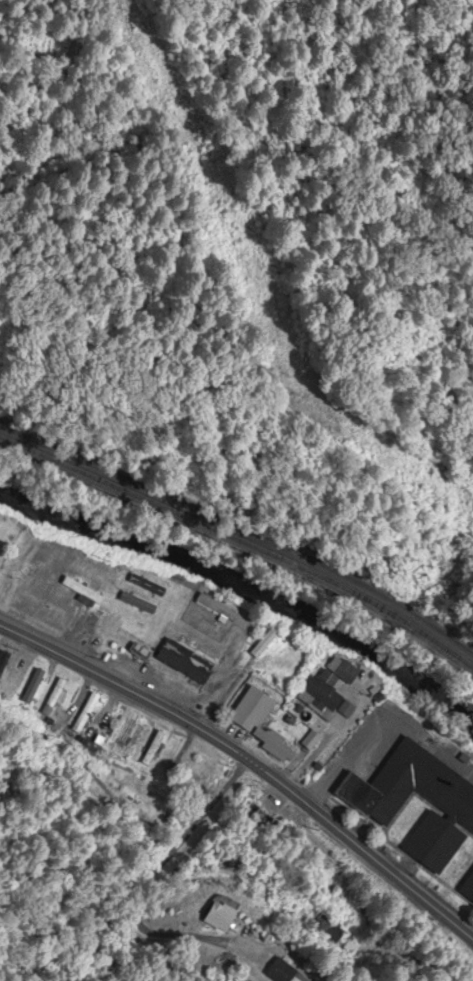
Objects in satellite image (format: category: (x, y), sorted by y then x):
railway: (245, 529)
building: (41, 542)
building: (101, 563)
building: (428, 573)
building: (146, 581)
building: (83, 588)
river: (245, 589)
building: (138, 602)
building: (219, 607)
building: (56, 615)
building: (110, 625)
building: (260, 639)
building: (3, 661)
building: (185, 662)
building: (11, 683)
building: (32, 687)
building: (329, 687)
building: (53, 696)
building: (86, 710)
road: (55, 720)
road: (384, 725)
building: (150, 748)
road: (248, 761)
building: (378, 804)
building: (256, 817)
road: (145, 886)
building: (468, 889)
building: (222, 915)
building: (327, 930)
building: (280, 970)

